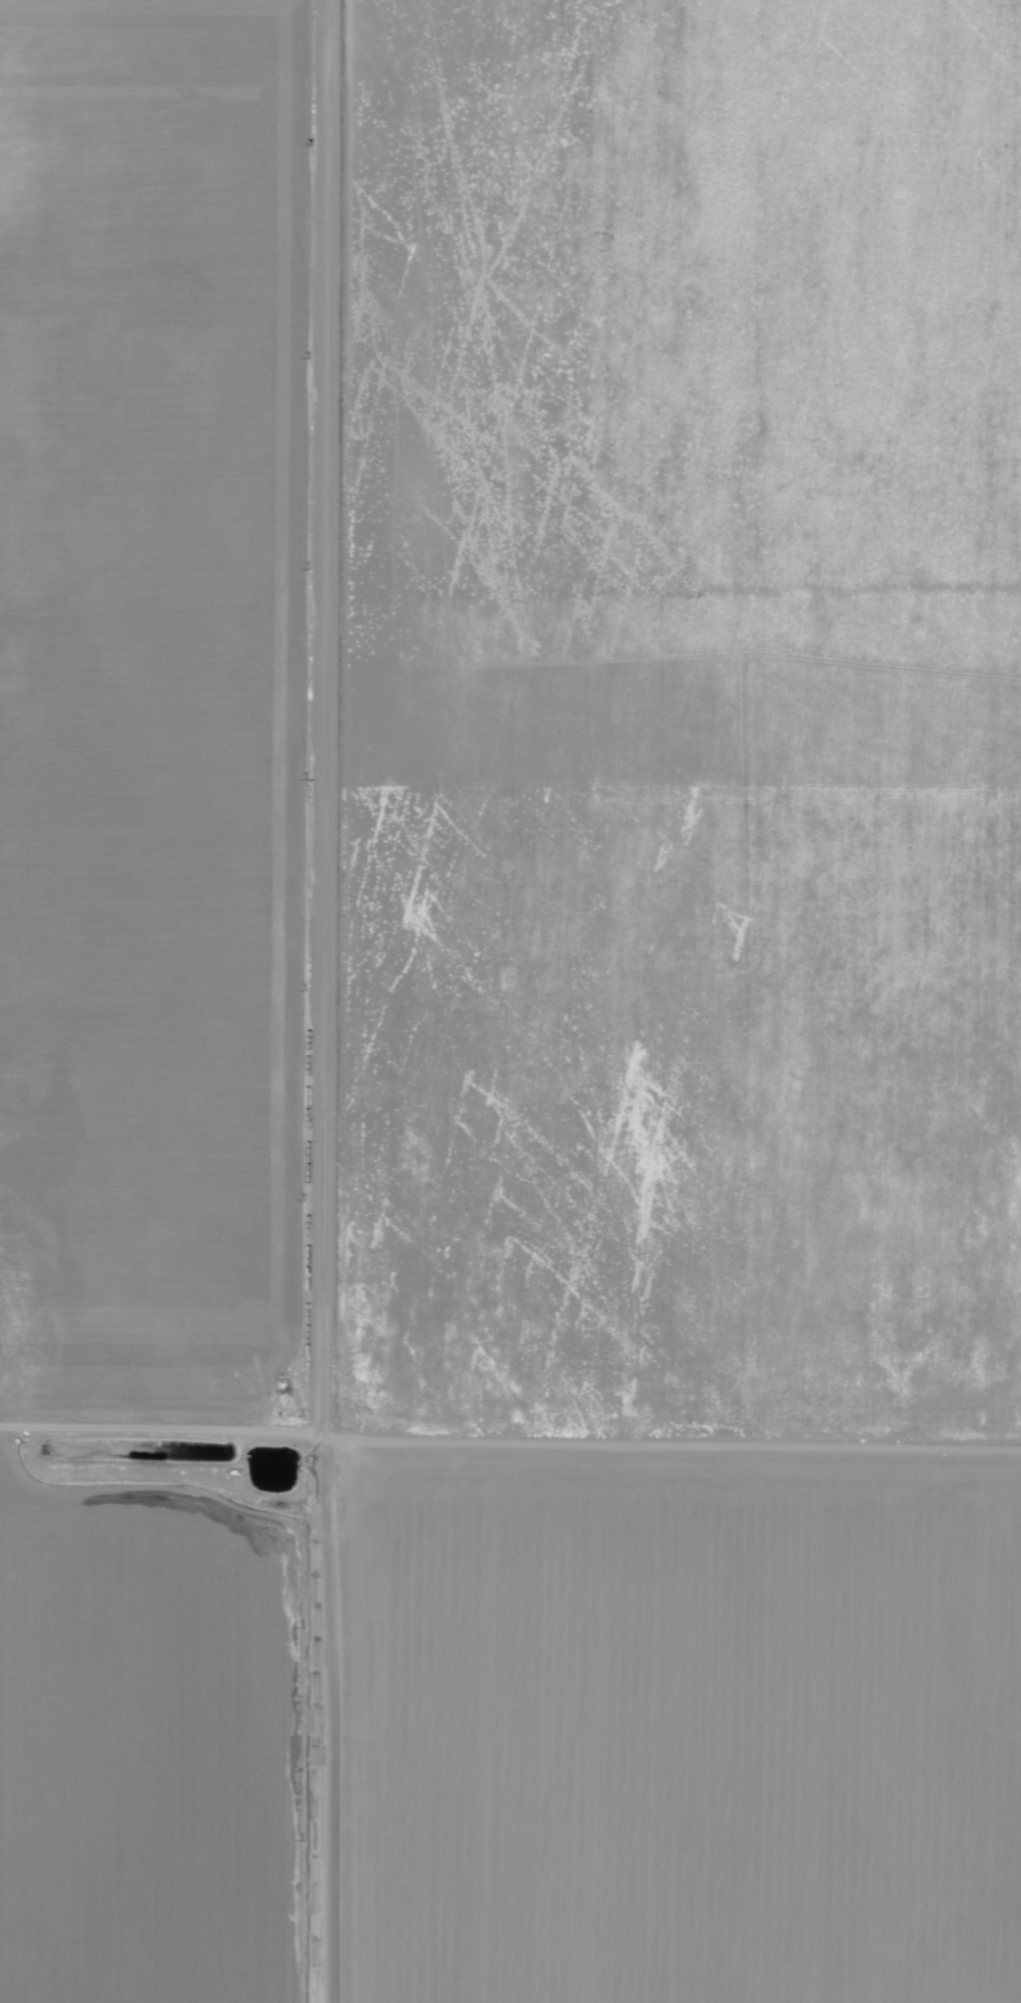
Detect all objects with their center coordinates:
crop: (157, 715)
road: (322, 1001)
road: (510, 1443)
road: (157, 1477)
crop: (667, 1725)

